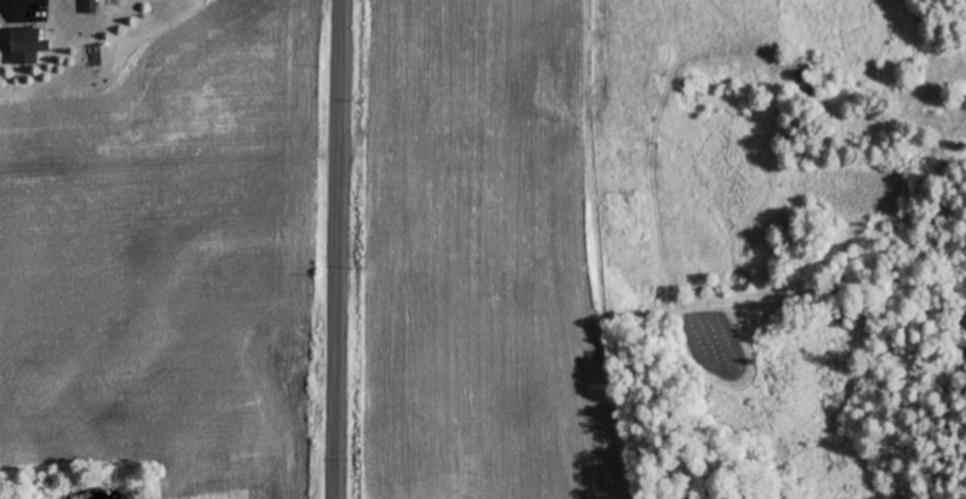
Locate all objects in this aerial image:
building: (89, 6)
building: (25, 40)
road: (338, 249)

